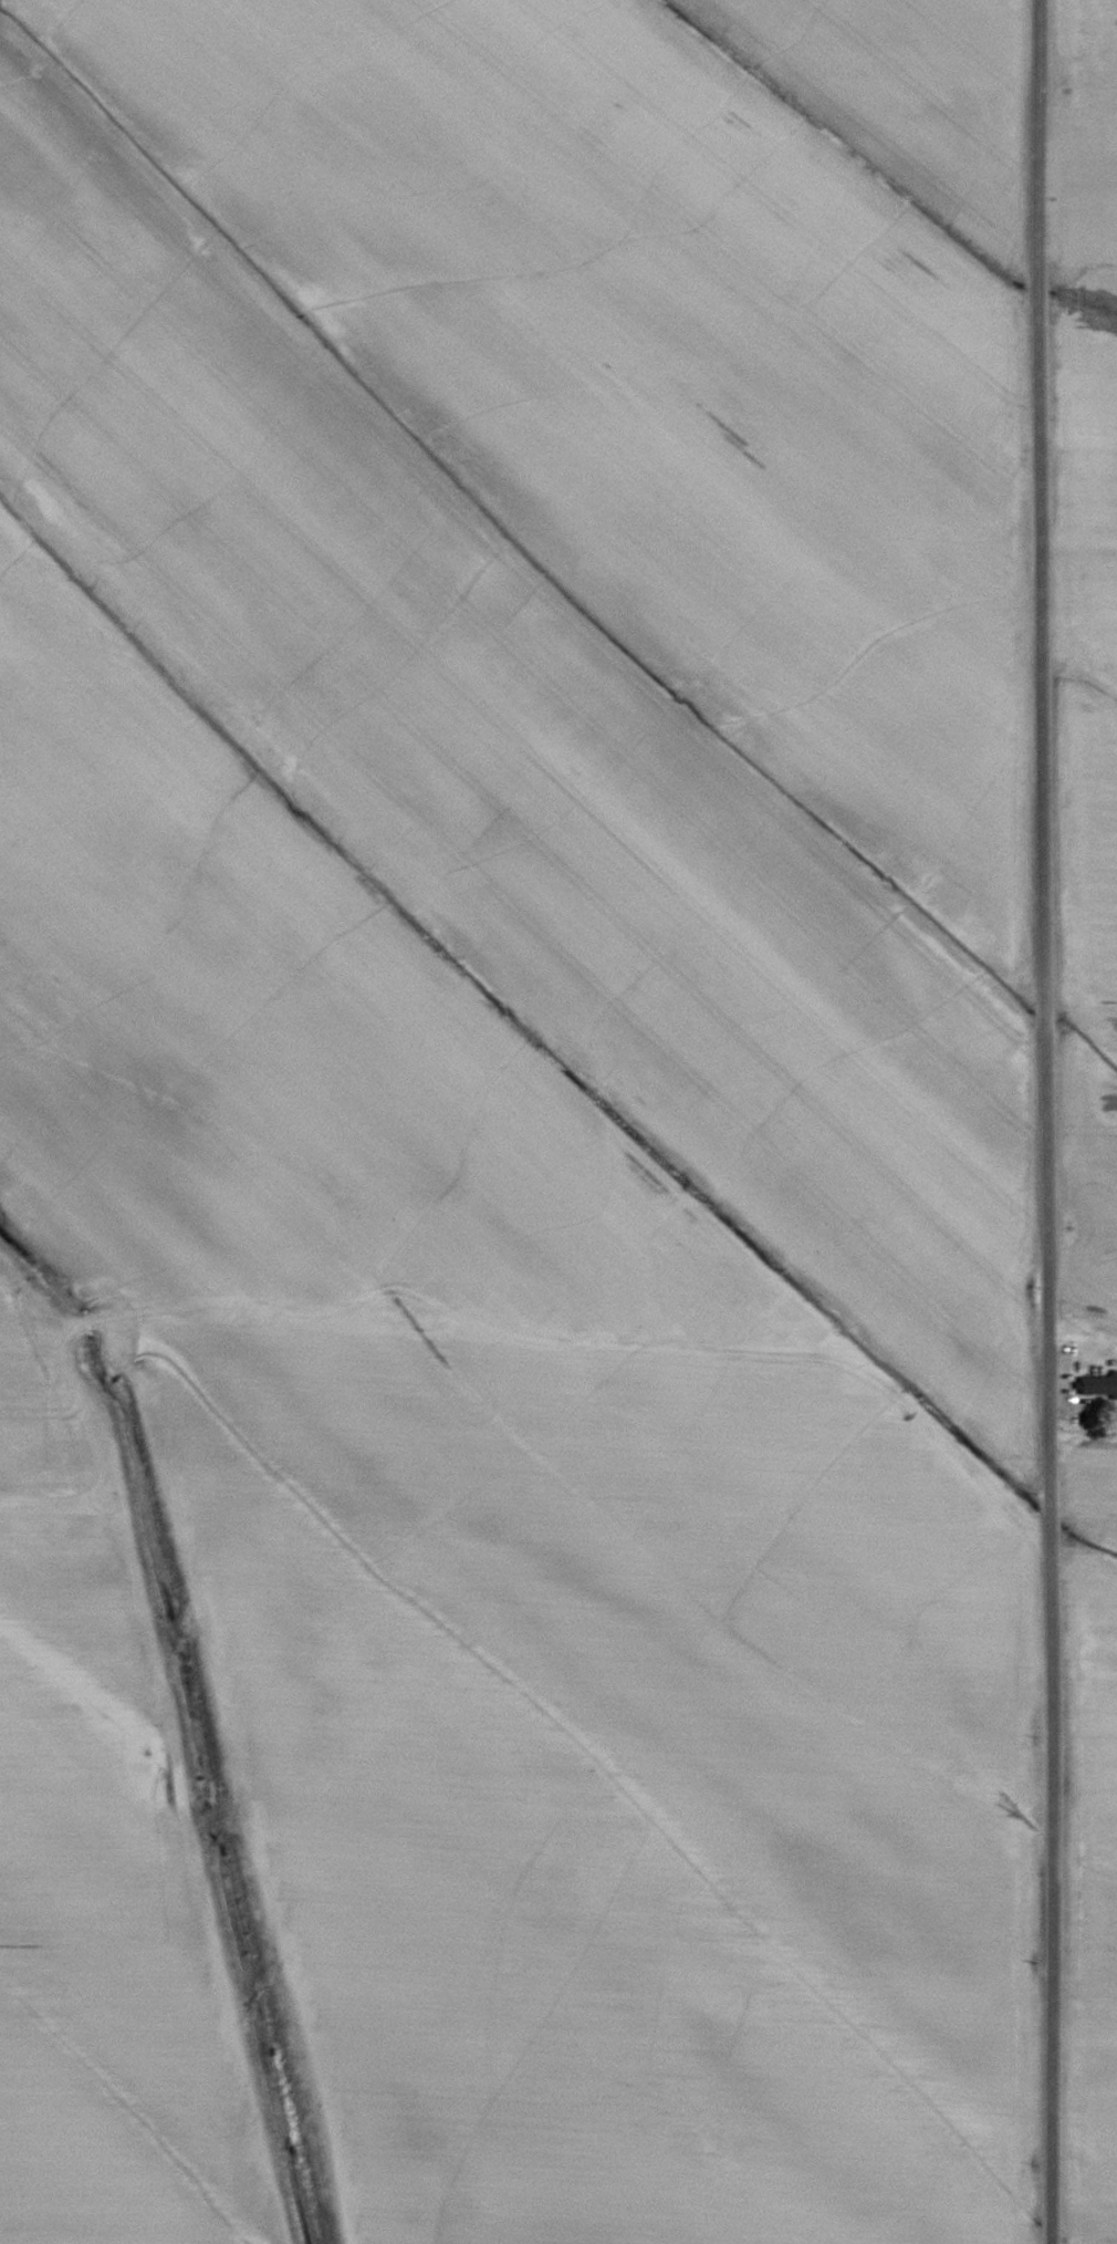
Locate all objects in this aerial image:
road: (1047, 1121)

